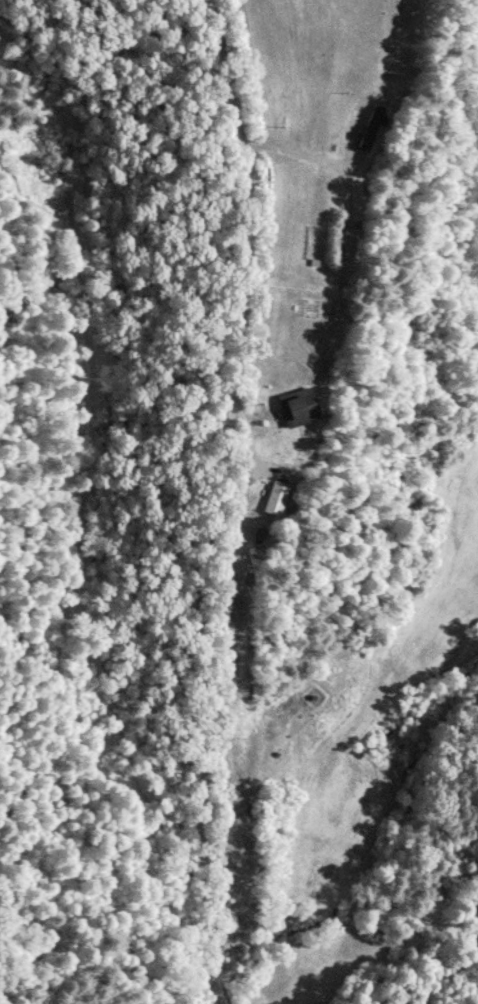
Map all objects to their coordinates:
building: (374, 125)
building: (353, 246)
building: (303, 409)
building: (279, 498)
road: (222, 500)

